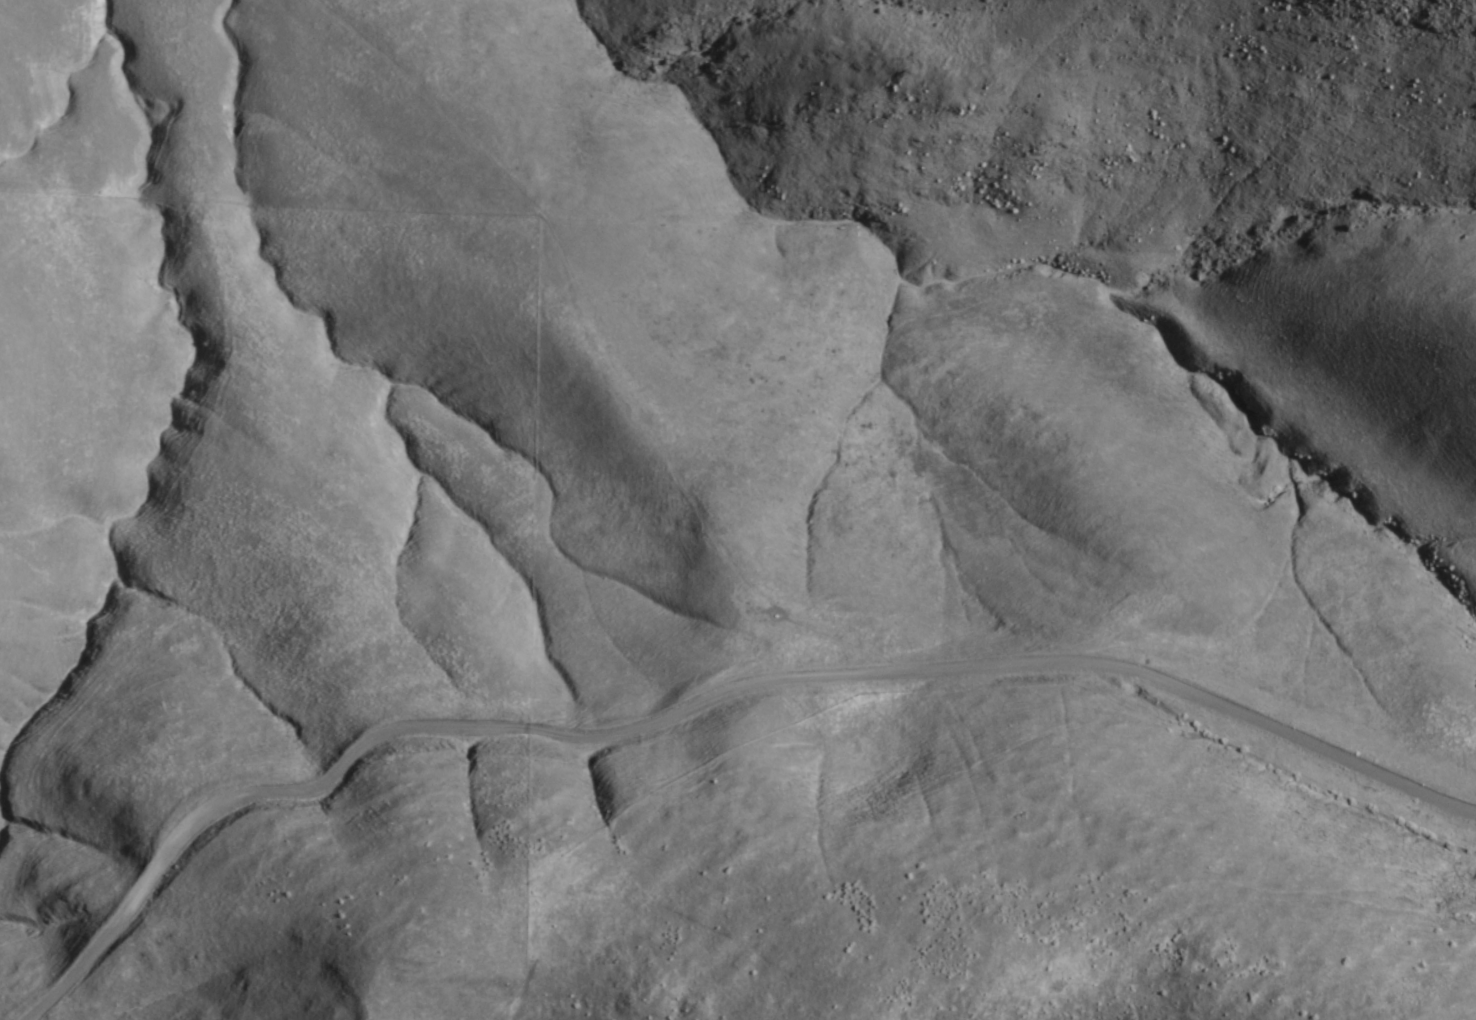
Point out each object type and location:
road: (689, 705)

